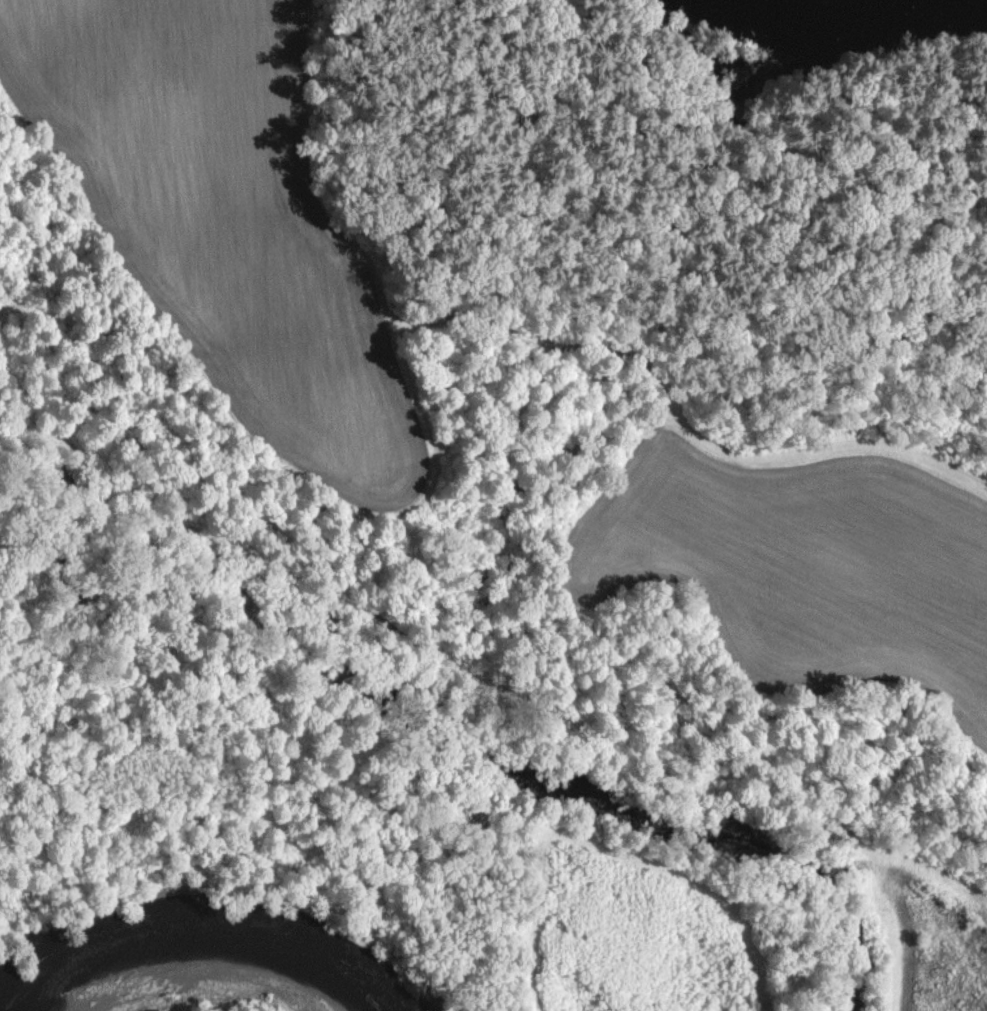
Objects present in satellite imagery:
river: (202, 946)

